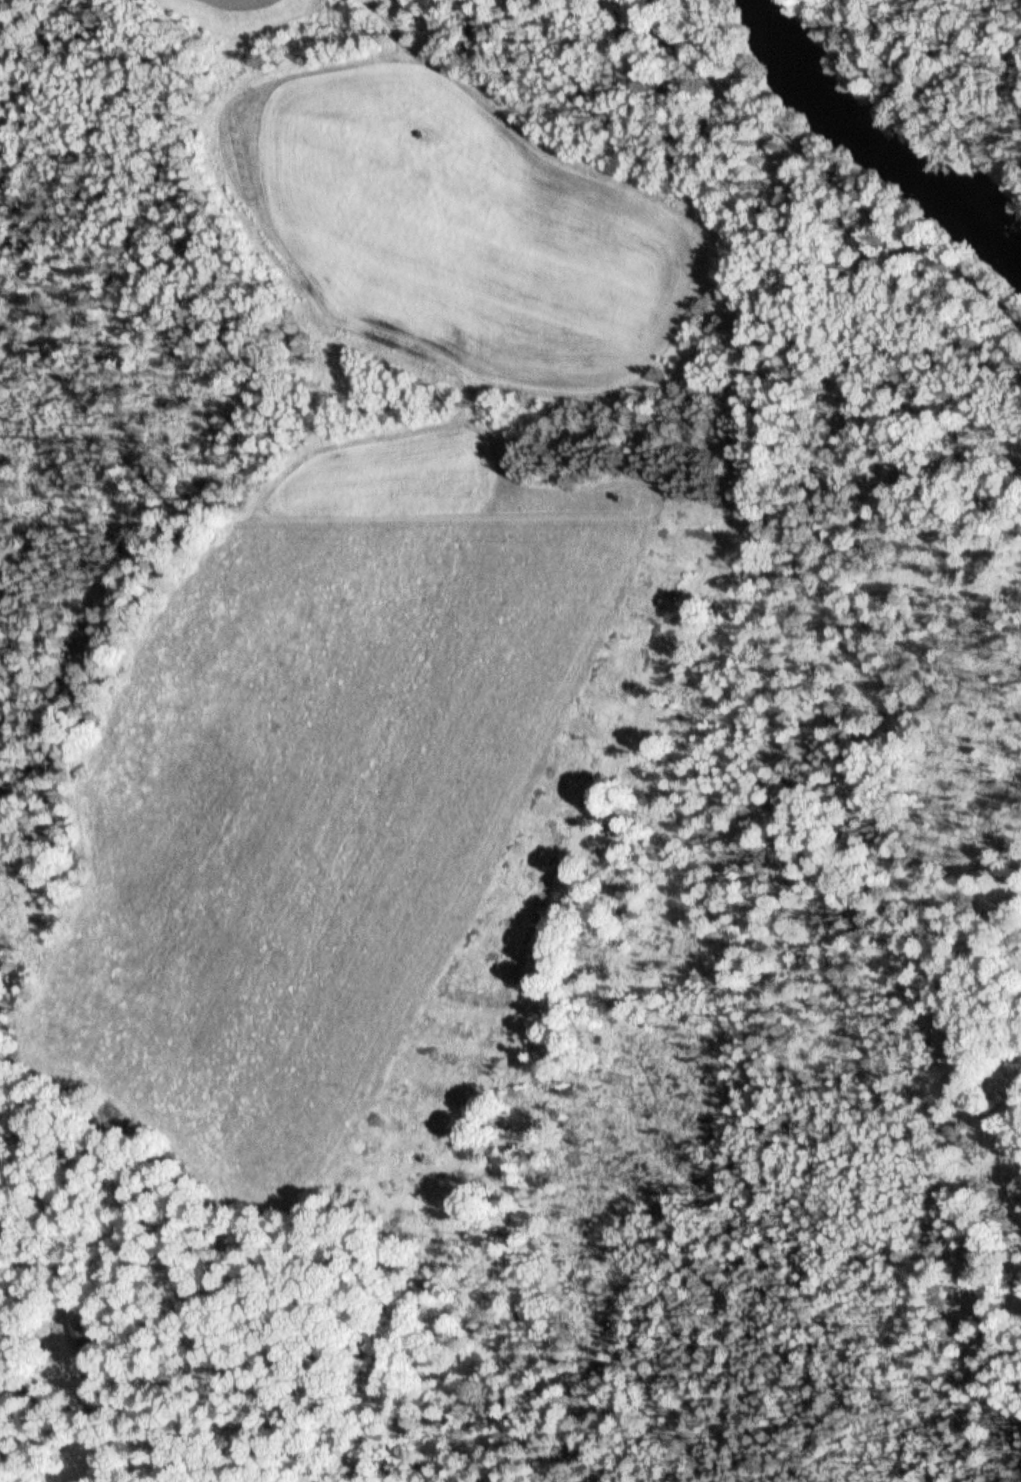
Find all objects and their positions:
river: (875, 146)
building: (80, 1338)

